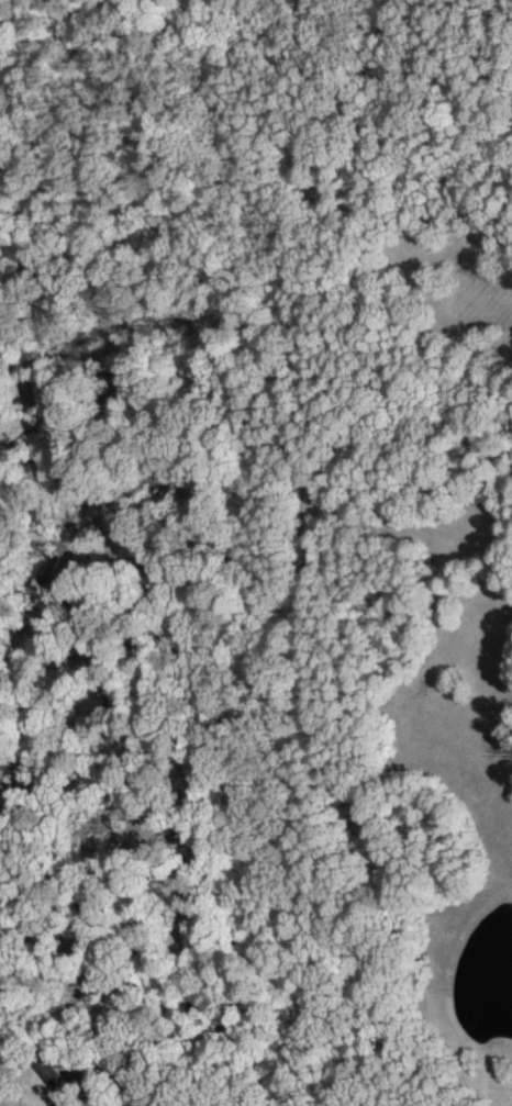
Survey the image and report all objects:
building: (41, 1061)

